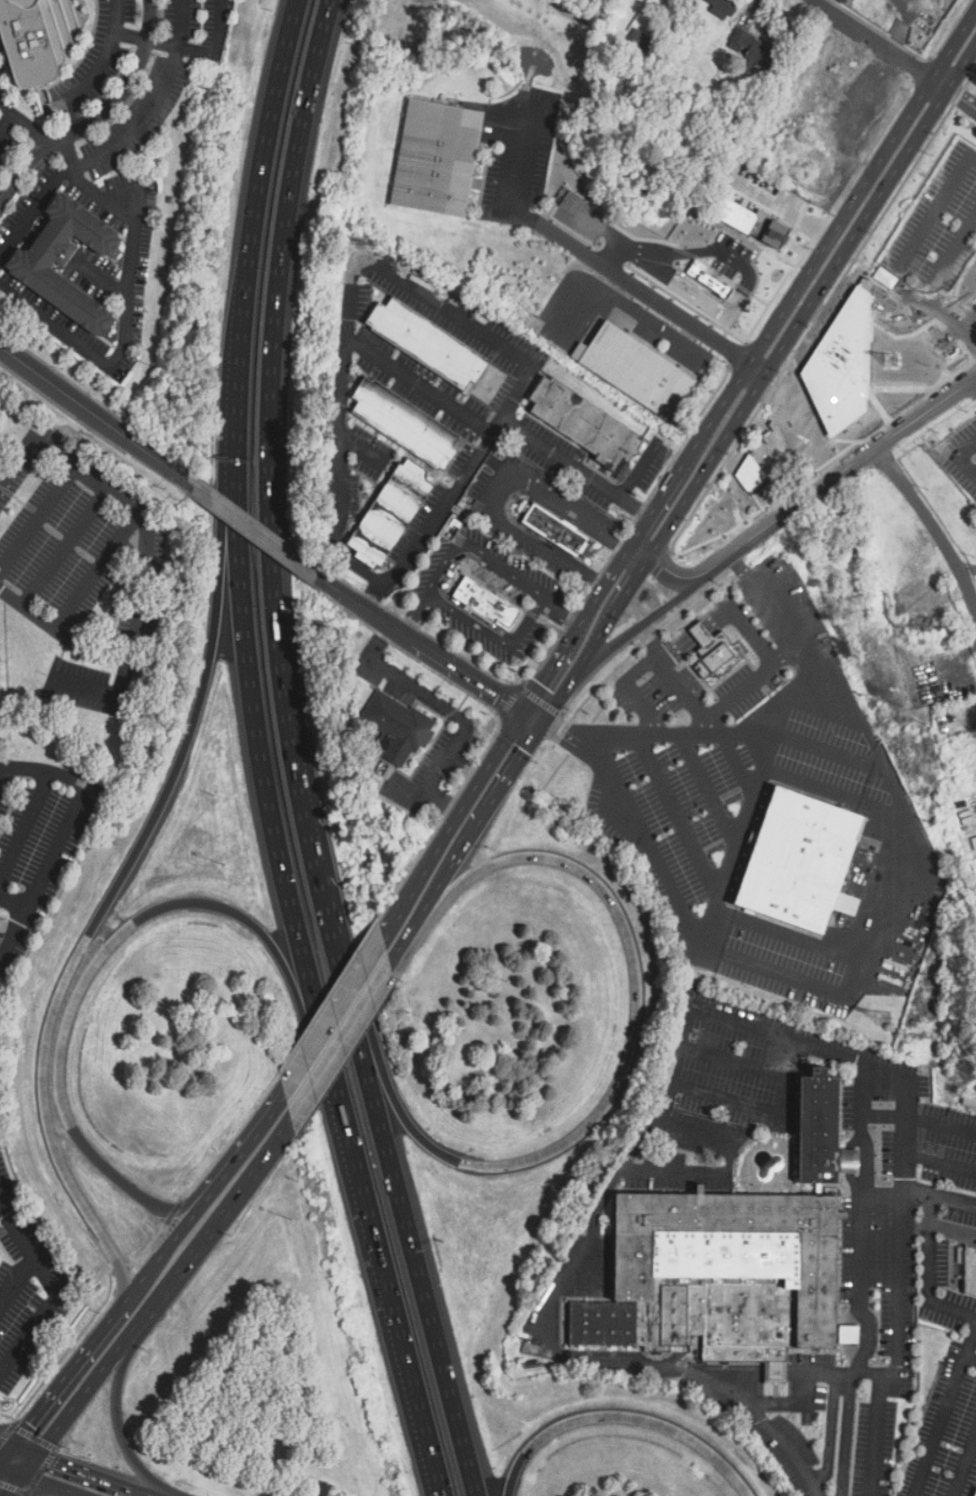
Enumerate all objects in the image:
building: (845, 1)
building: (725, 6)
road: (181, 24)
road: (903, 25)
building: (33, 38)
road: (878, 43)
building: (752, 49)
road: (191, 51)
building: (635, 55)
road: (101, 62)
road: (125, 85)
road: (6, 121)
road: (27, 122)
road: (269, 124)
road: (130, 132)
building: (438, 159)
road: (24, 165)
road: (67, 166)
road: (520, 169)
road: (31, 214)
building: (753, 222)
road: (602, 229)
road: (924, 231)
road: (699, 251)
building: (66, 259)
road: (805, 272)
road: (102, 278)
building: (714, 284)
road: (678, 285)
road: (933, 285)
road: (812, 297)
road: (650, 298)
road: (125, 319)
building: (429, 342)
road: (241, 356)
power tower: (890, 361)
building: (637, 369)
road: (418, 378)
road: (92, 412)
building: (406, 422)
building: (588, 424)
road: (952, 452)
road: (639, 468)
road: (270, 478)
road: (835, 478)
road: (335, 489)
road: (495, 489)
building: (392, 514)
road: (38, 515)
road: (931, 526)
road: (251, 530)
building: (559, 530)
road: (68, 544)
road: (151, 563)
road: (661, 565)
road: (98, 566)
road: (629, 579)
road: (597, 592)
building: (487, 602)
road: (563, 605)
road: (776, 613)
road: (416, 614)
road: (639, 622)
road: (688, 624)
road: (744, 631)
road: (595, 634)
road: (496, 636)
road: (418, 645)
building: (713, 650)
road: (672, 669)
road: (541, 677)
traffic signals: (539, 681)
road: (743, 685)
road: (629, 686)
road: (108, 689)
road: (560, 693)
traffic signals: (497, 696)
road: (790, 701)
road: (438, 702)
road: (461, 703)
road: (530, 717)
building: (398, 727)
traffic signals: (560, 730)
road: (491, 739)
road: (824, 748)
traffic signals: (525, 750)
road: (737, 763)
road: (885, 767)
road: (4, 774)
road: (267, 784)
road: (709, 787)
road: (426, 792)
road: (835, 795)
road: (465, 798)
road: (488, 808)
road: (678, 815)
road: (25, 827)
road: (741, 829)
road: (61, 834)
building: (802, 861)
street lamp: (225, 864)
road: (117, 888)
road: (16, 899)
road: (398, 911)
road: (413, 929)
road: (792, 936)
road: (103, 952)
street lamp: (506, 980)
road: (833, 985)
road: (329, 997)
road: (334, 1015)
power tower: (882, 1019)
road: (341, 1043)
road: (904, 1076)
road: (786, 1098)
building: (970, 1098)
road: (604, 1107)
road: (884, 1117)
road: (941, 1125)
building: (819, 1128)
road: (231, 1140)
road: (854, 1140)
road: (249, 1142)
road: (920, 1158)
road: (850, 1161)
road: (613, 1183)
road: (854, 1183)
road: (173, 1213)
street lamp: (292, 1220)
road: (405, 1226)
road: (861, 1226)
road: (214, 1230)
road: (170, 1244)
road: (147, 1247)
building: (971, 1269)
road: (120, 1270)
road: (926, 1271)
building: (723, 1277)
road: (16, 1279)
road: (50, 1290)
road: (386, 1298)
road: (852, 1315)
road: (901, 1321)
road: (849, 1334)
road: (69, 1348)
road: (852, 1352)
road: (972, 1355)
road: (726, 1370)
road: (69, 1371)
road: (776, 1371)
road: (84, 1395)
road: (791, 1404)
road: (946, 1415)
road: (621, 1417)
traffic signals: (29, 1423)
road: (118, 1424)
road: (830, 1432)
road: (847, 1434)
road: (877, 1434)
road: (33, 1436)
road: (7, 1442)
road: (25, 1449)
road: (7, 1453)
road: (28, 1463)
traffic signals: (59, 1463)
road: (10, 1469)
road: (966, 1469)
road: (93, 1475)
street lamp: (328, 1480)
road: (11, 1484)
road: (49, 1485)
building: (975, 1495)

